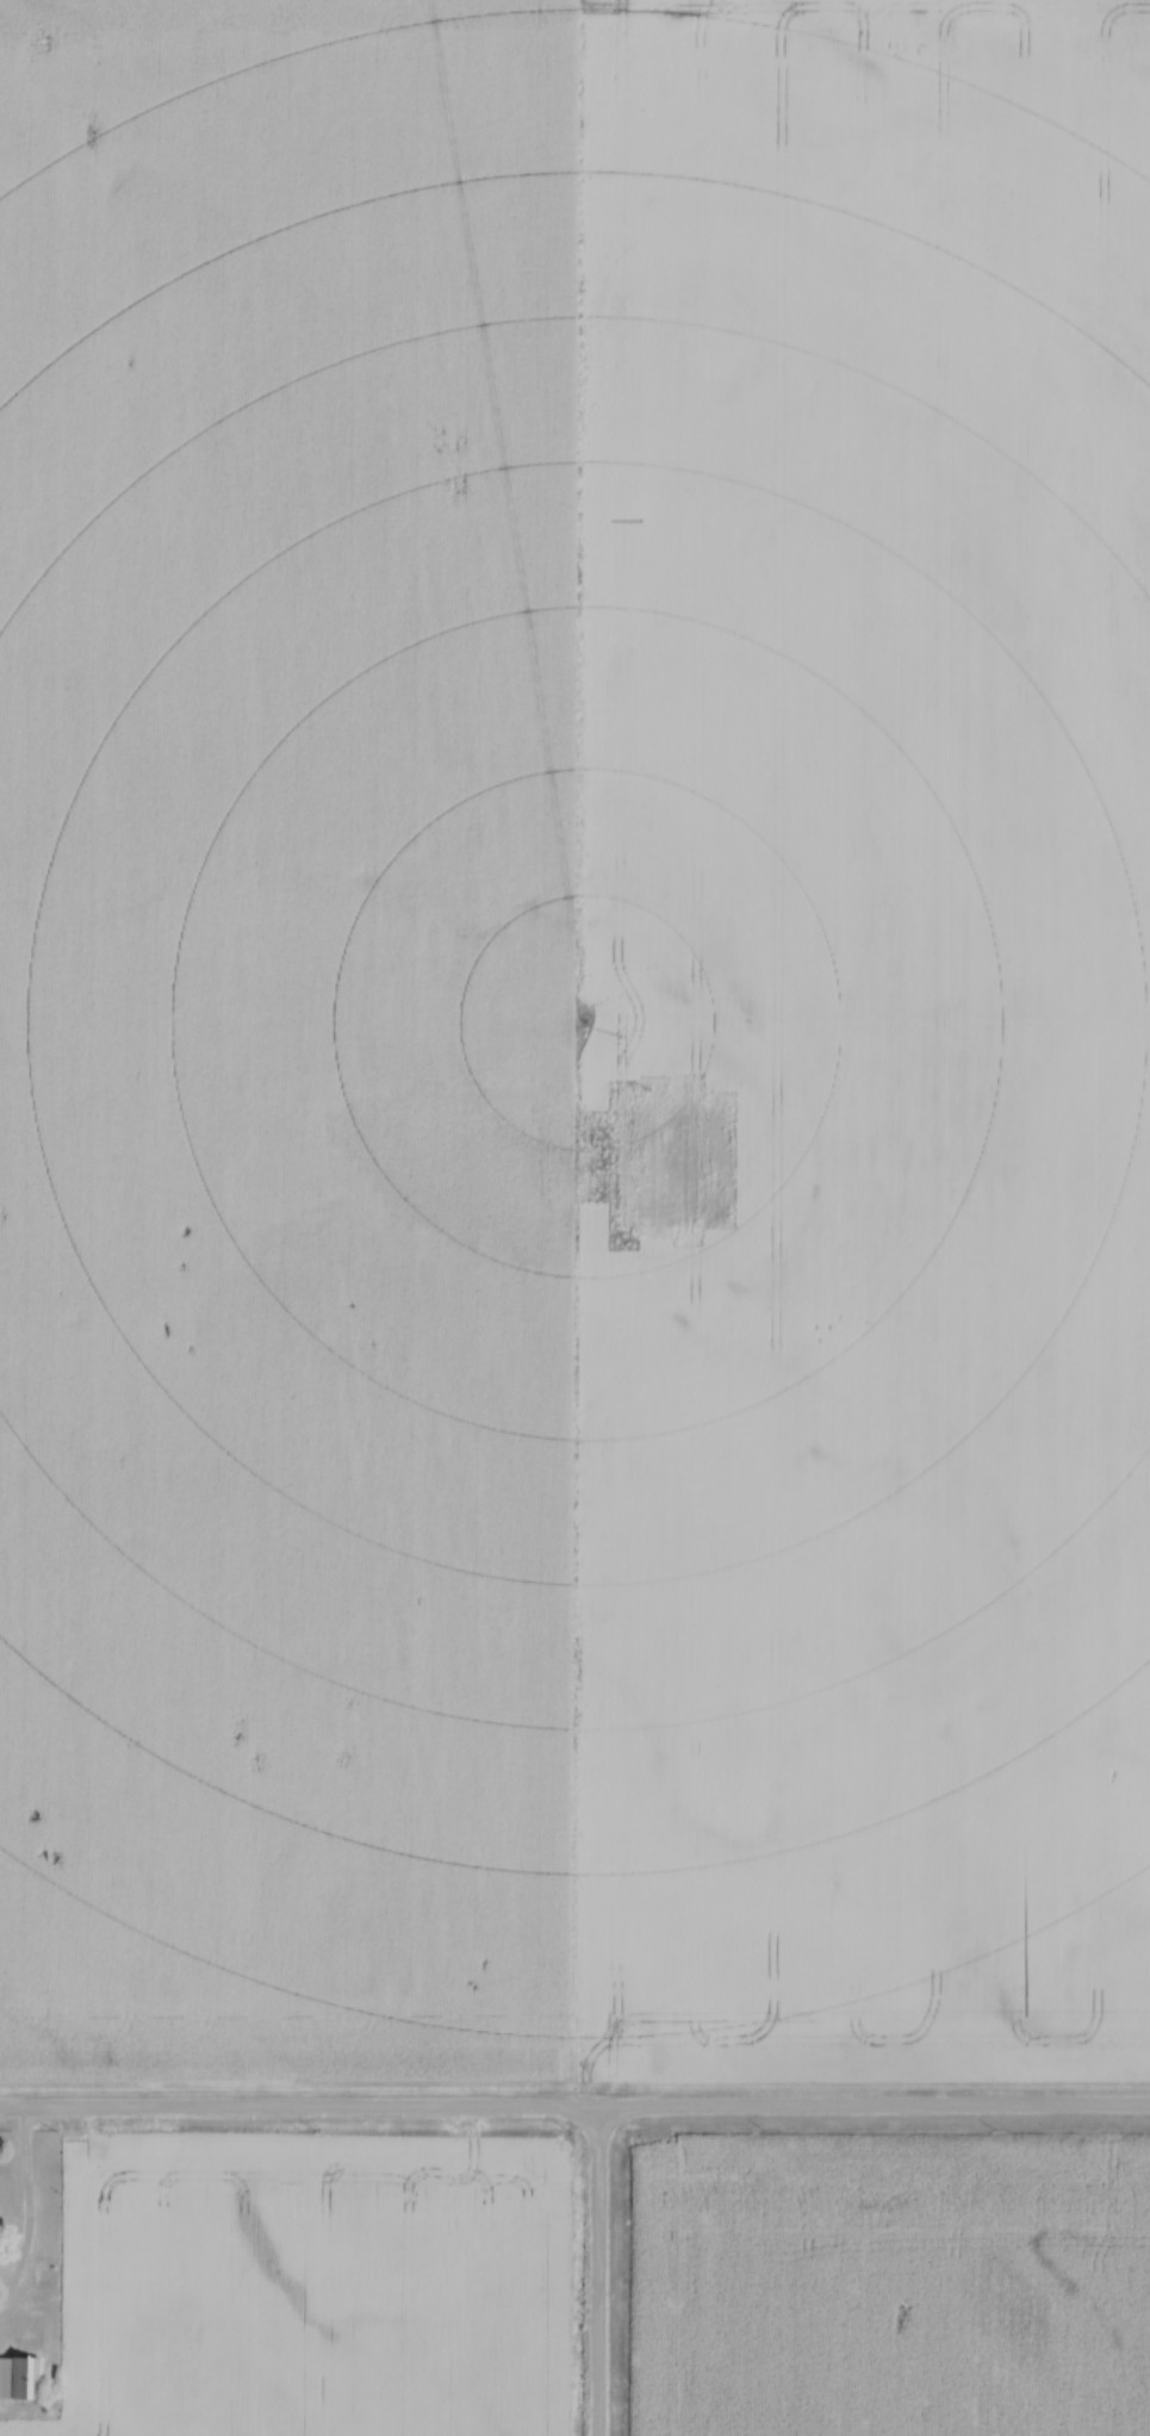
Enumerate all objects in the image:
road: (574, 2113)
road: (27, 2188)
road: (18, 2268)
road: (596, 2274)
building: (20, 2376)

